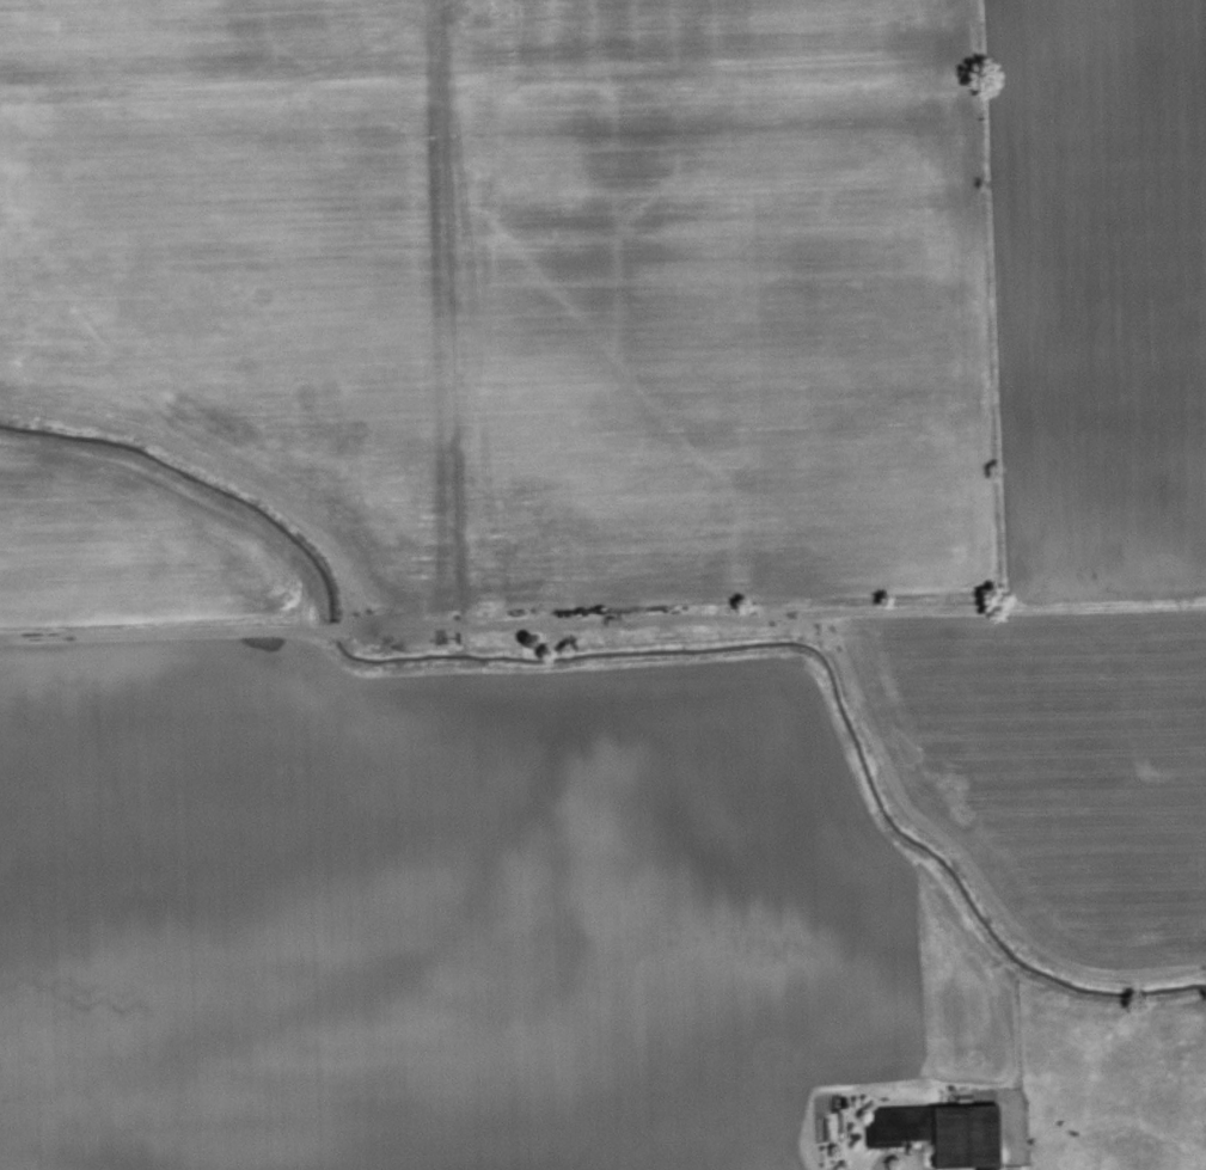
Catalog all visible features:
building: (939, 1131)

